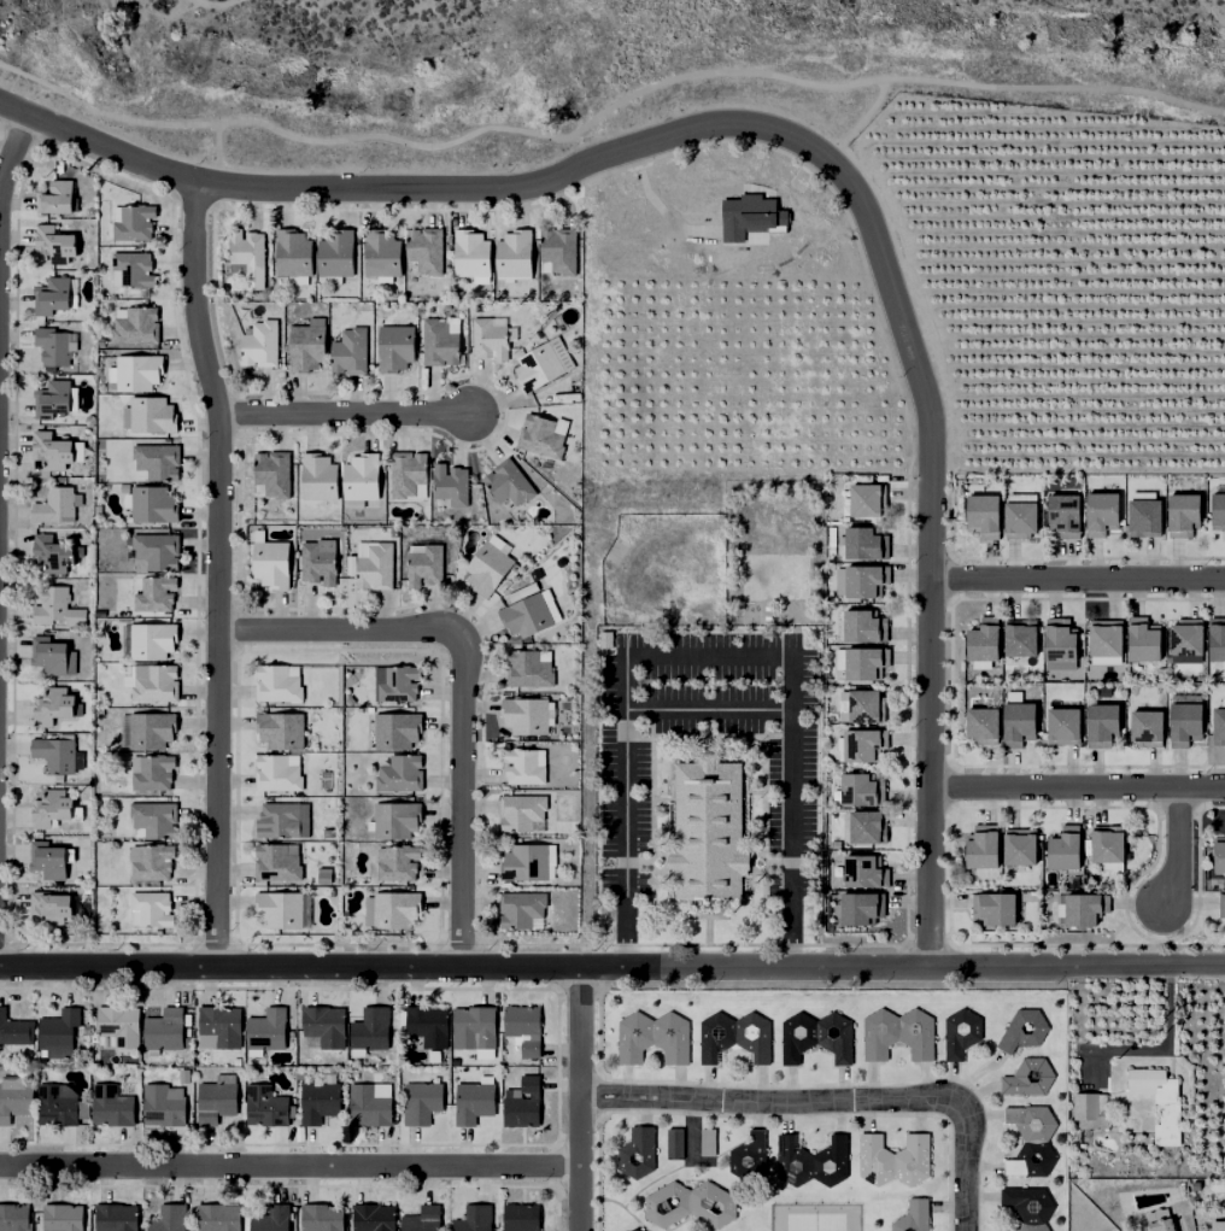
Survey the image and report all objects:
road: (45, 84)
road: (646, 87)
road: (856, 122)
road: (12, 148)
road: (813, 153)
road: (213, 154)
building: (57, 193)
building: (134, 218)
building: (749, 219)
building: (59, 242)
building: (426, 247)
building: (247, 248)
building: (559, 248)
building: (294, 250)
building: (473, 250)
building: (338, 251)
building: (383, 252)
building: (516, 253)
building: (133, 265)
building: (53, 293)
building: (137, 323)
building: (492, 336)
building: (441, 340)
building: (263, 341)
building: (57, 342)
building: (307, 344)
building: (397, 345)
building: (352, 348)
building: (539, 364)
building: (140, 369)
building: (54, 395)
building: (152, 415)
road: (345, 415)
building: (541, 434)
building: (53, 449)
building: (157, 459)
building: (409, 470)
building: (274, 473)
building: (363, 474)
building: (320, 475)
building: (510, 480)
building: (452, 482)
building: (55, 503)
building: (153, 504)
building: (864, 506)
building: (1217, 511)
building: (1097, 512)
building: (979, 514)
building: (1059, 514)
building: (1178, 514)
building: (1141, 517)
building: (1016, 520)
building: (862, 546)
building: (158, 547)
building: (55, 552)
building: (274, 561)
building: (320, 561)
building: (427, 561)
building: (377, 564)
building: (490, 565)
road: (218, 571)
road: (1077, 581)
building: (863, 586)
building: (157, 592)
building: (58, 606)
building: (532, 611)
building: (861, 628)
road: (339, 631)
building: (1103, 637)
building: (1184, 637)
building: (150, 638)
building: (1141, 639)
building: (1217, 639)
building: (603, 640)
building: (981, 640)
building: (1018, 640)
building: (1059, 640)
building: (51, 653)
road: (705, 653)
building: (1103, 661)
building: (1217, 666)
building: (529, 667)
building: (864, 667)
building: (1059, 667)
building: (403, 681)
building: (157, 682)
building: (275, 685)
building: (54, 703)
road: (703, 709)
building: (862, 710)
building: (527, 713)
building: (1016, 721)
building: (1183, 721)
building: (980, 722)
building: (1100, 722)
building: (1062, 723)
building: (1218, 725)
building: (1145, 726)
building: (153, 727)
building: (282, 727)
building: (399, 727)
building: (861, 749)
building: (55, 751)
building: (524, 766)
building: (154, 772)
building: (279, 772)
building: (402, 772)
road: (1078, 786)
building: (860, 792)
road: (461, 797)
building: (51, 804)
building: (522, 809)
parking lot: (622, 814)
building: (156, 817)
building: (280, 817)
building: (398, 817)
building: (704, 830)
building: (866, 833)
building: (975, 848)
building: (1100, 849)
road: (1176, 849)
building: (1057, 851)
building: (1018, 855)
building: (1218, 856)
building: (51, 858)
building: (531, 858)
building: (156, 861)
building: (279, 861)
building: (400, 862)
building: (861, 873)
building: (52, 904)
building: (398, 905)
building: (992, 905)
building: (153, 907)
building: (286, 907)
building: (861, 907)
building: (1224, 908)
building: (1083, 909)
building: (517, 910)
road: (612, 963)
building: (121, 1025)
building: (324, 1025)
building: (429, 1025)
building: (221, 1026)
building: (474, 1026)
building: (526, 1026)
building: (373, 1027)
building: (14, 1028)
building: (165, 1028)
building: (1021, 1028)
building: (60, 1031)
building: (268, 1031)
building: (897, 1033)
building: (960, 1033)
building: (733, 1036)
building: (814, 1036)
building: (650, 1037)
building: (1026, 1077)
road: (576, 1096)
building: (14, 1097)
building: (217, 1097)
building: (477, 1097)
building: (320, 1101)
building: (423, 1101)
building: (113, 1102)
building: (526, 1102)
road: (834, 1102)
building: (1159, 1102)
building: (166, 1103)
building: (371, 1103)
building: (59, 1104)
building: (268, 1104)
building: (1089, 1108)
building: (1030, 1138)
building: (704, 1142)
building: (672, 1143)
building: (633, 1153)
building: (745, 1155)
building: (890, 1159)
building: (809, 1160)
road: (288, 1168)
building: (1192, 1185)
building: (1177, 1186)
building: (686, 1203)
building: (1026, 1206)
building: (912, 1215)
building: (14, 1217)
building: (64, 1217)
building: (117, 1217)
building: (218, 1217)
building: (322, 1217)
building: (374, 1217)
building: (523, 1217)
building: (170, 1218)
building: (272, 1218)
building: (476, 1218)
building: (424, 1219)
building: (1160, 1225)
building: (1215, 1225)
building: (632, 1230)

